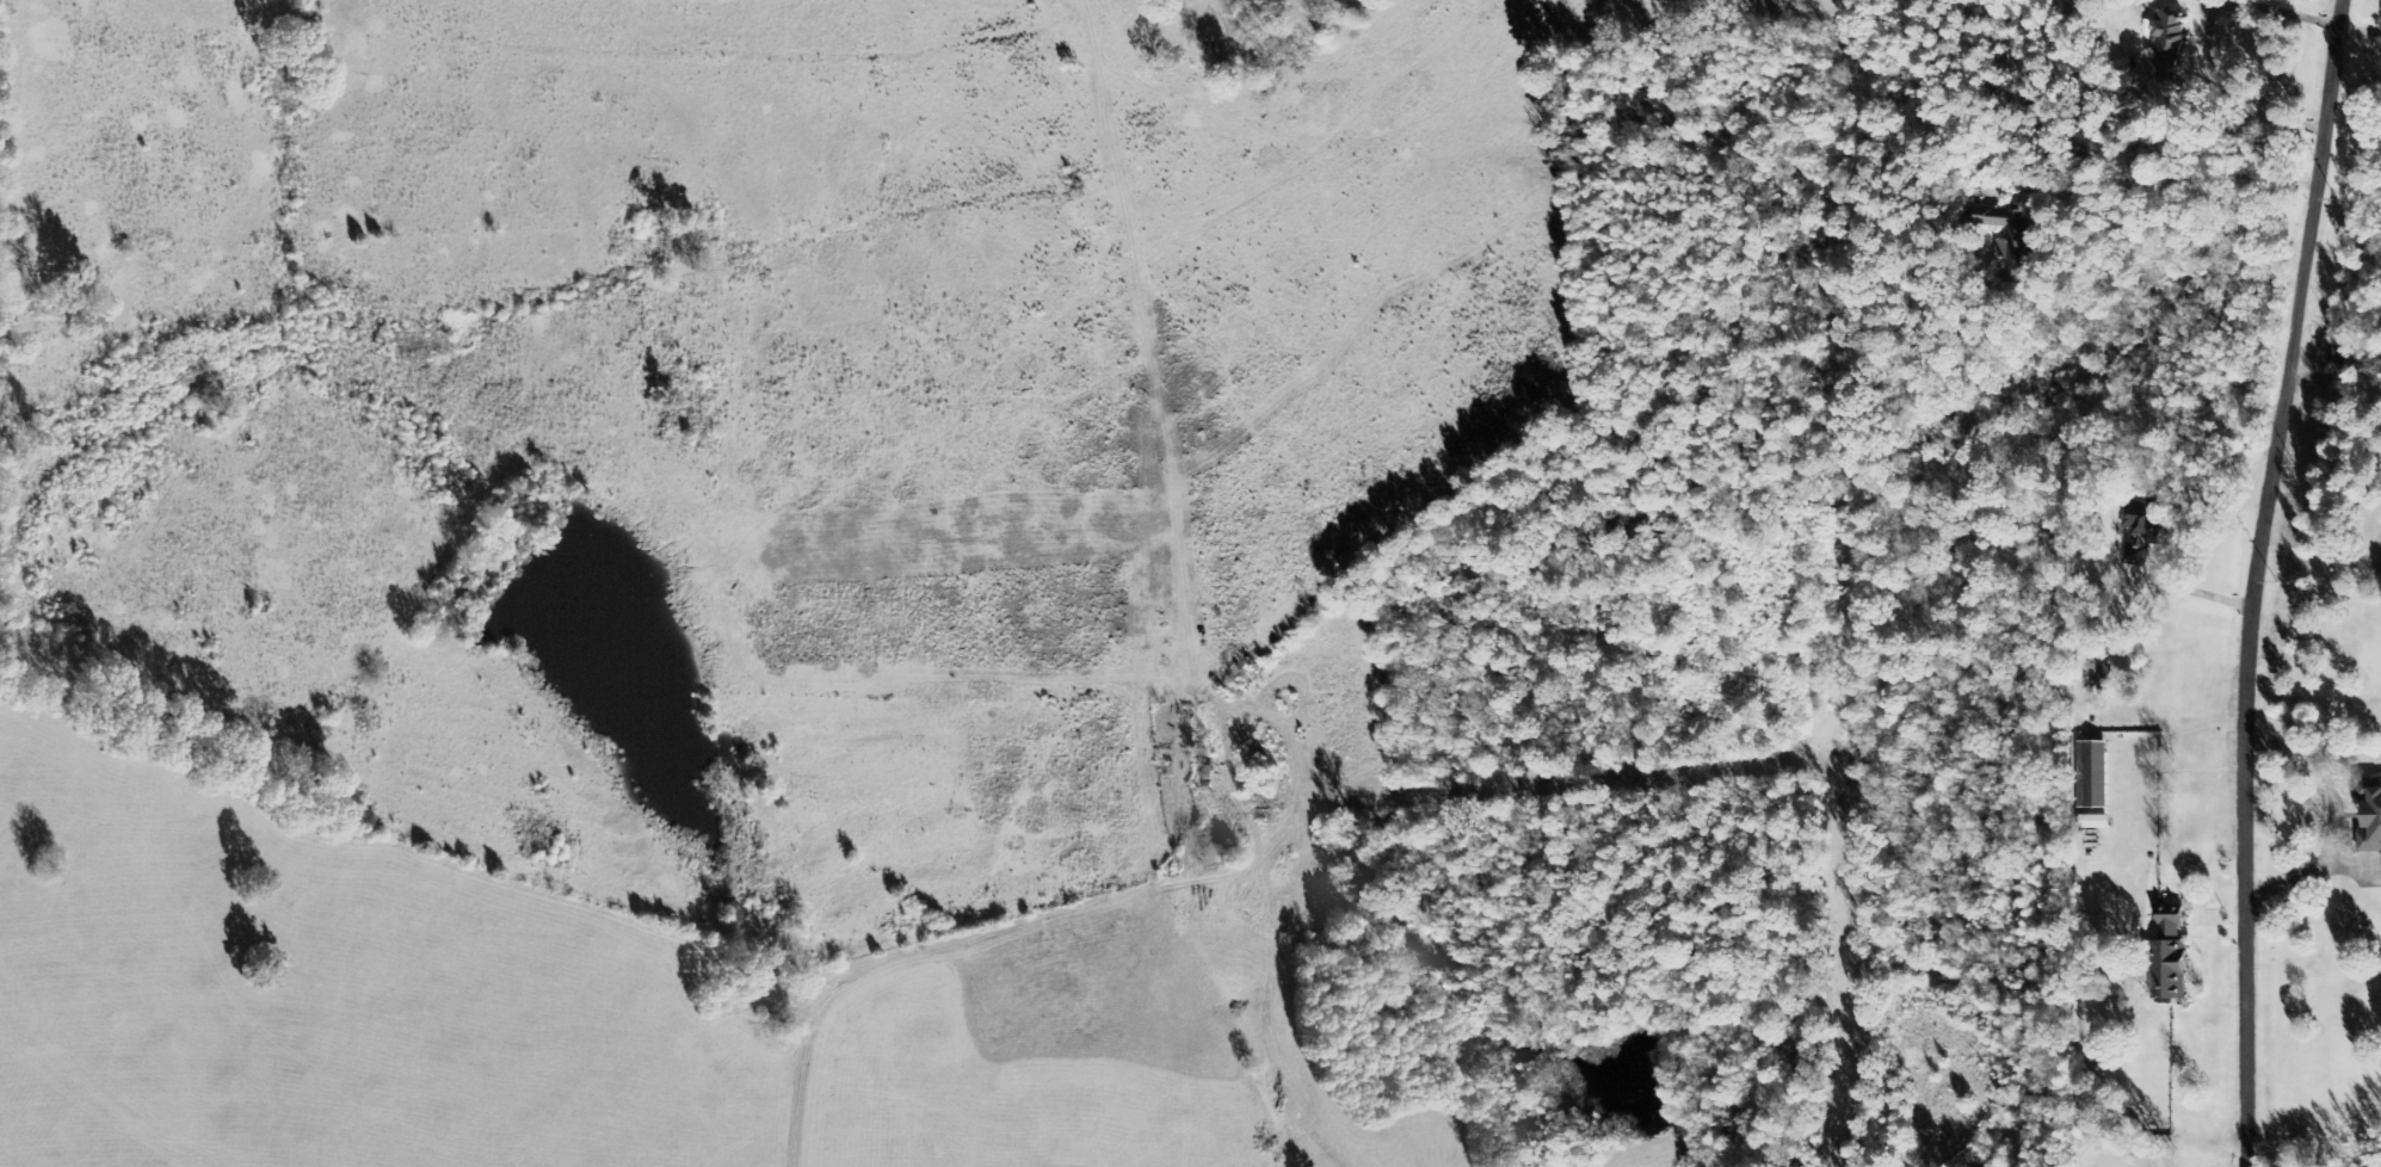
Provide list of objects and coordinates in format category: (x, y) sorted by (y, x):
building: (2169, 44)
building: (2006, 239)
building: (2139, 531)
road: (2260, 580)
building: (2096, 776)
building: (2371, 817)
building: (2170, 958)
airport: (520, 1011)

